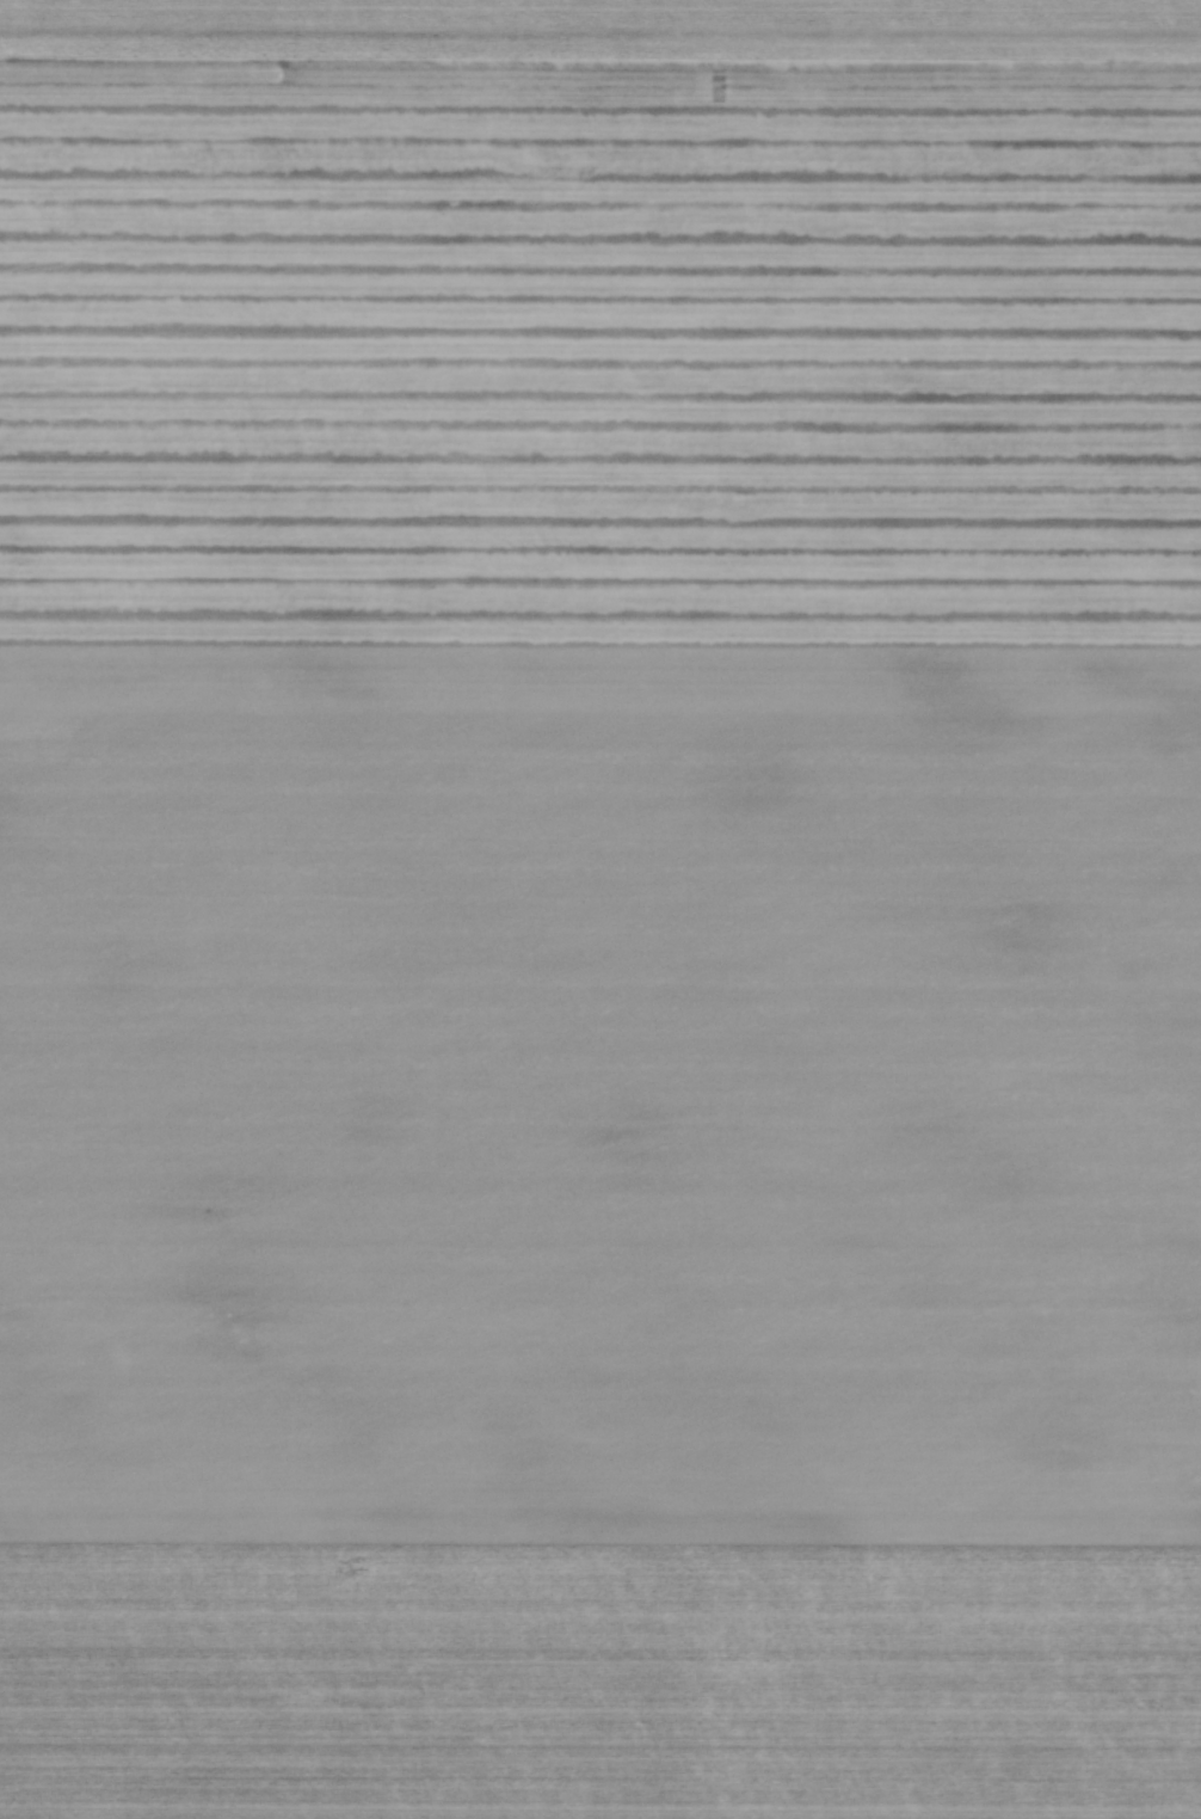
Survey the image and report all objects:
crop: (600, 909)

